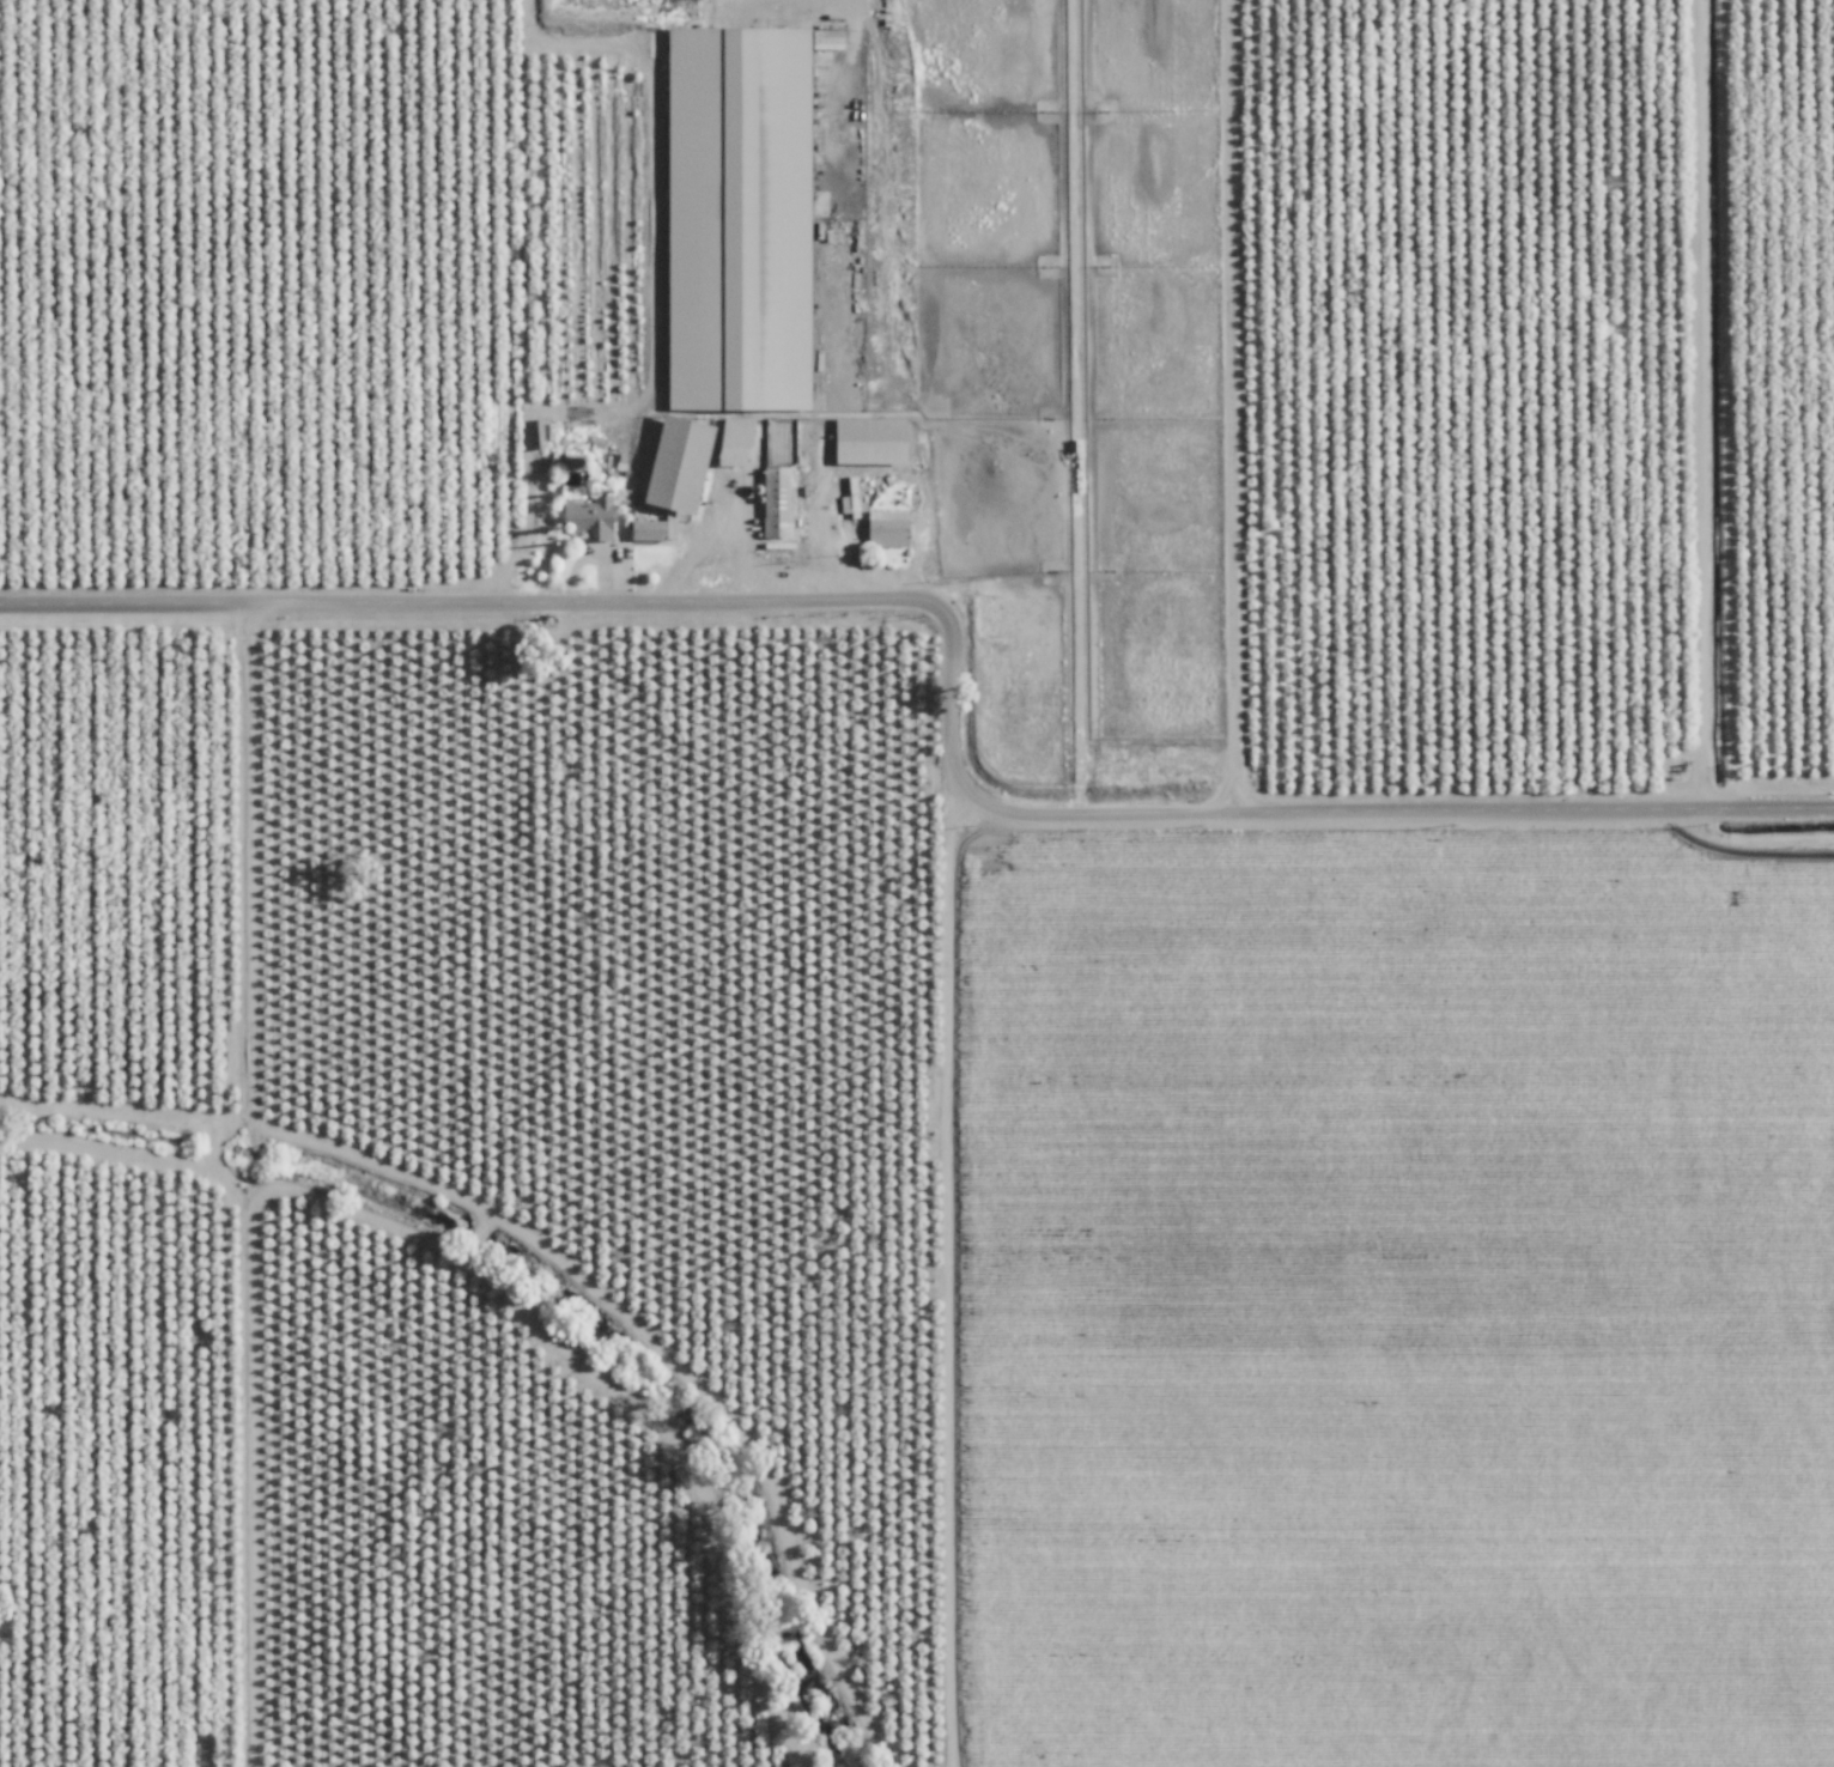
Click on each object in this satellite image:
road: (549, 294)
building: (874, 442)
building: (576, 462)
building: (684, 464)
building: (779, 503)
building: (591, 516)
building: (889, 528)
building: (650, 530)
road: (953, 648)
crop: (1386, 1289)

